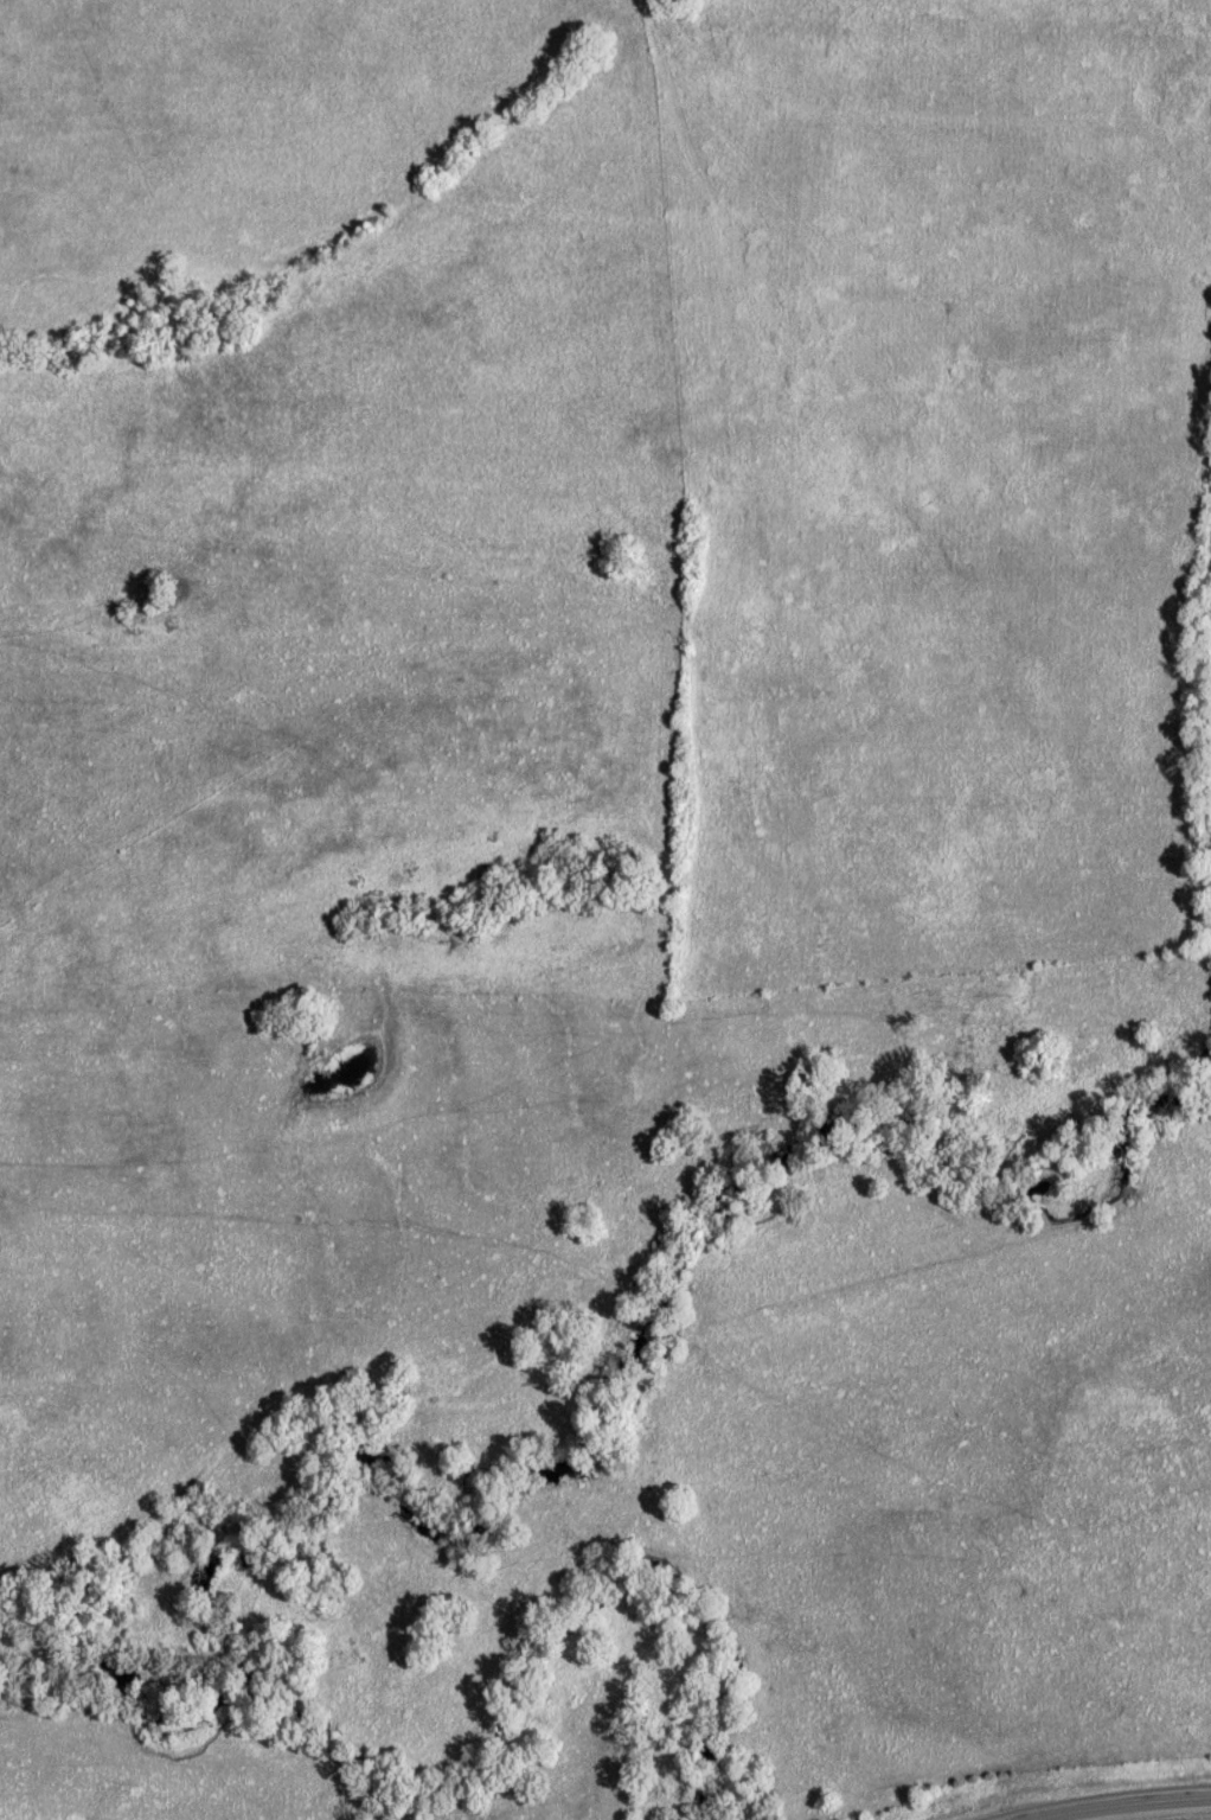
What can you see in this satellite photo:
road: (1113, 1801)

